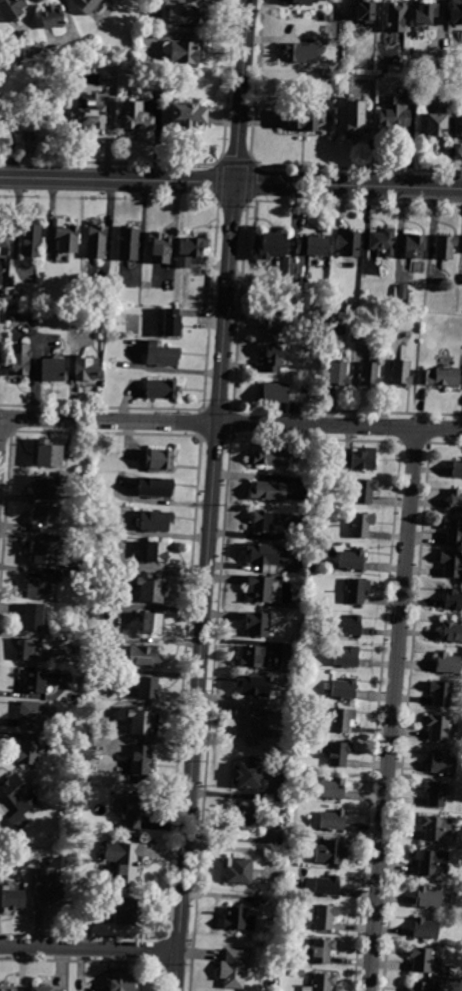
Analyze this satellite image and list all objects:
building: (298, 3)
building: (85, 5)
building: (11, 9)
building: (361, 10)
building: (455, 11)
building: (423, 12)
building: (183, 15)
building: (52, 17)
building: (396, 17)
building: (181, 51)
building: (301, 51)
building: (433, 66)
building: (184, 115)
building: (305, 115)
building: (88, 116)
building: (392, 116)
building: (132, 118)
building: (354, 118)
building: (432, 125)
building: (460, 126)
building: (31, 139)
road: (115, 179)
traffic signals: (231, 182)
road: (346, 185)
building: (66, 237)
building: (30, 239)
building: (4, 241)
building: (383, 241)
building: (96, 242)
building: (348, 242)
building: (128, 243)
building: (313, 245)
building: (413, 245)
building: (271, 246)
building: (445, 246)
building: (160, 247)
building: (189, 250)
building: (402, 292)
building: (13, 294)
building: (112, 299)
building: (112, 313)
building: (331, 317)
building: (169, 323)
building: (282, 324)
building: (161, 354)
building: (272, 358)
building: (20, 359)
building: (87, 368)
building: (53, 369)
building: (401, 372)
building: (338, 373)
building: (370, 374)
building: (440, 377)
building: (161, 389)
building: (273, 392)
road: (231, 423)
building: (48, 453)
building: (271, 456)
building: (159, 459)
building: (359, 459)
building: (457, 469)
building: (44, 485)
building: (155, 487)
building: (364, 490)
building: (268, 491)
road: (212, 495)
building: (456, 499)
building: (45, 518)
building: (155, 521)
building: (260, 521)
building: (360, 524)
building: (111, 529)
building: (453, 530)
building: (43, 552)
building: (157, 552)
building: (262, 554)
building: (351, 560)
building: (452, 564)
building: (39, 586)
building: (151, 589)
building: (259, 589)
building: (355, 590)
building: (453, 600)
building: (33, 616)
building: (151, 623)
building: (257, 624)
building: (349, 625)
building: (452, 631)
building: (31, 649)
building: (145, 656)
building: (252, 656)
building: (289, 656)
building: (346, 657)
building: (448, 662)
building: (34, 682)
building: (253, 685)
building: (147, 688)
building: (342, 688)
building: (440, 693)
road: (254, 702)
road: (392, 709)
building: (31, 716)
building: (342, 720)
building: (142, 721)
road: (279, 723)
building: (250, 725)
building: (436, 727)
building: (284, 743)
building: (27, 750)
building: (338, 753)
building: (141, 762)
building: (442, 763)
building: (249, 773)
building: (331, 788)
building: (434, 793)
building: (18, 800)
building: (133, 809)
building: (243, 817)
building: (332, 820)
building: (435, 828)
road: (243, 838)
building: (329, 852)
building: (122, 859)
building: (430, 861)
building: (237, 870)
building: (46, 886)
building: (327, 886)
building: (260, 898)
building: (427, 898)
building: (12, 899)
building: (121, 910)
building: (324, 916)
building: (237, 919)
building: (425, 929)
road: (89, 948)
building: (322, 950)
building: (421, 959)
building: (234, 968)
building: (298, 974)
building: (119, 982)
building: (320, 982)
building: (423, 986)
building: (9, 988)
building: (46, 989)

